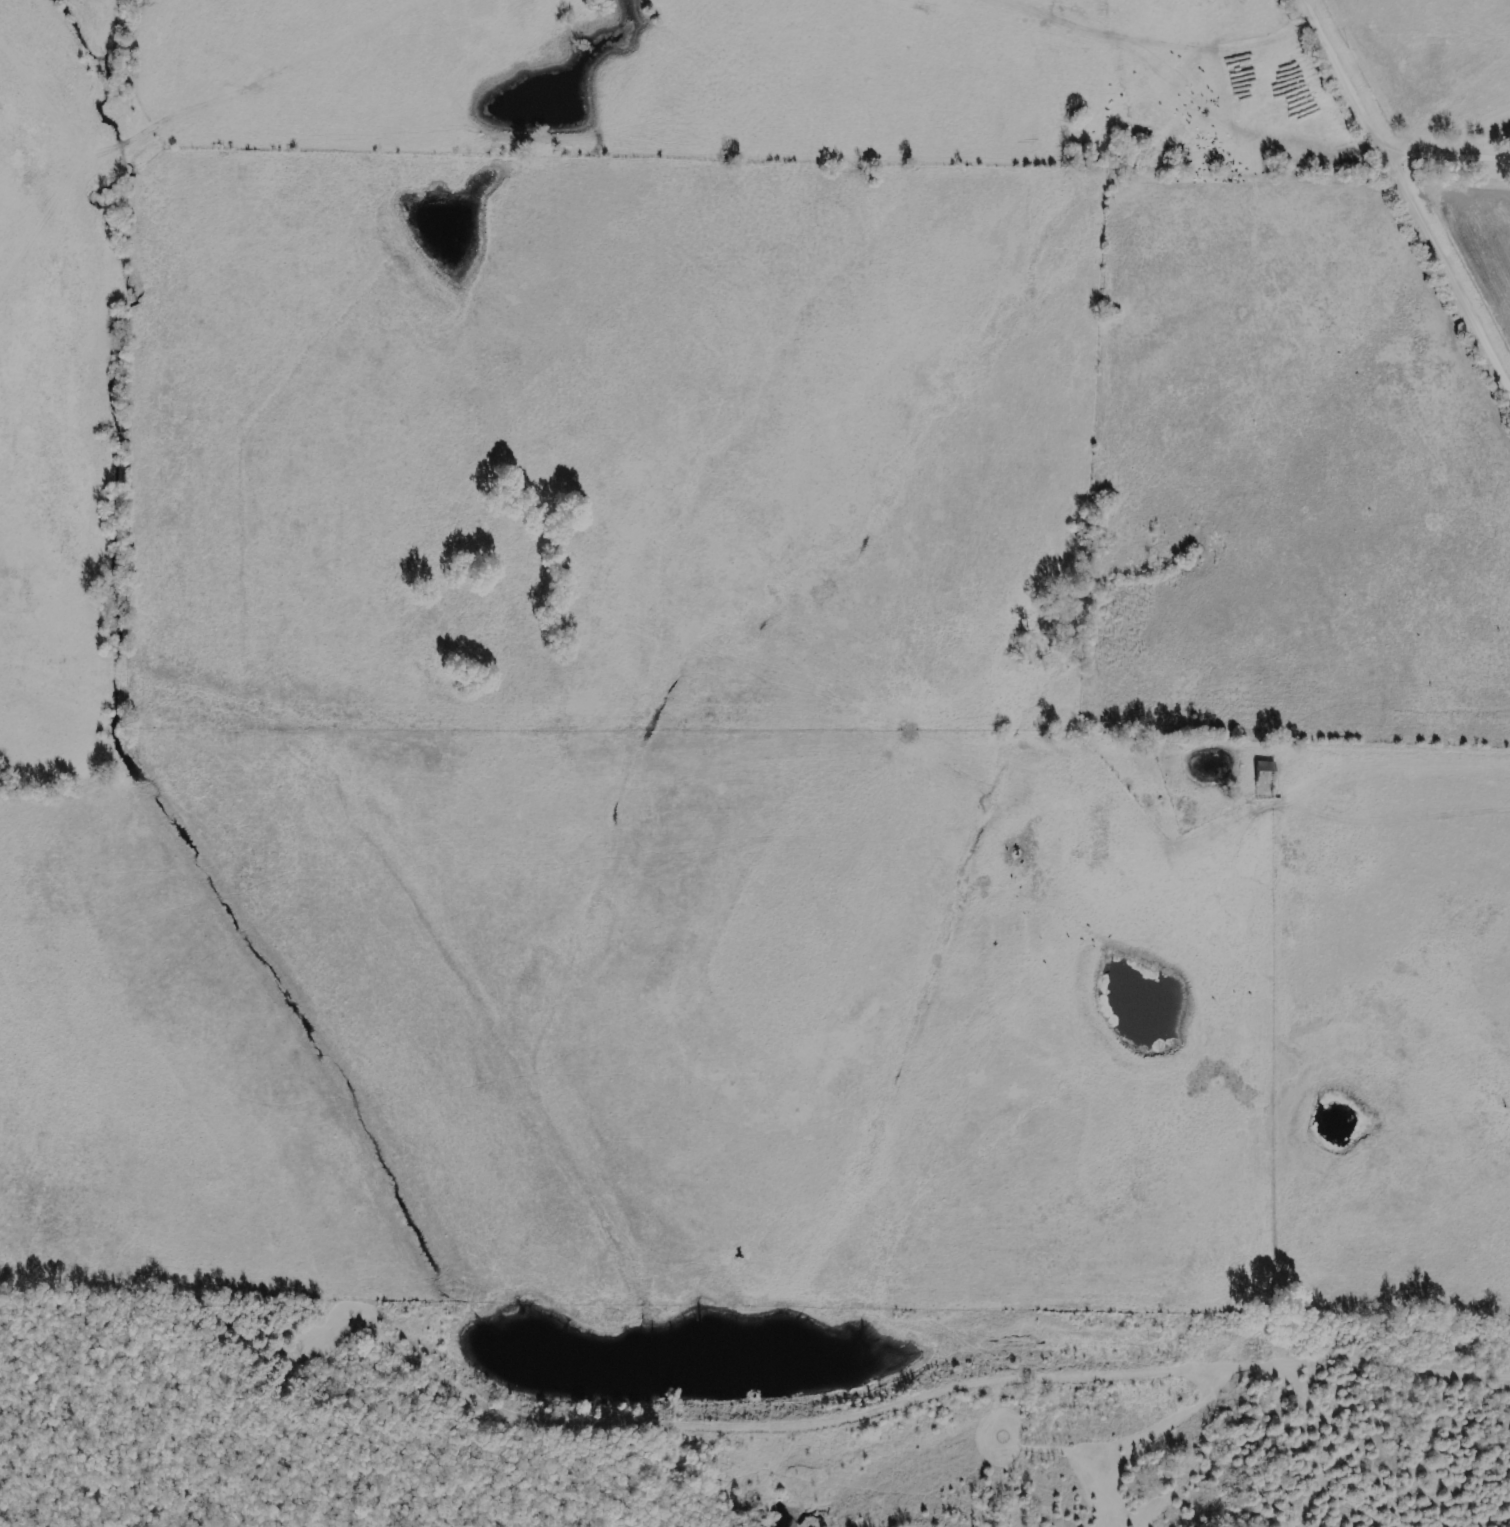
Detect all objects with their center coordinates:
road: (1407, 189)
building: (1264, 772)

